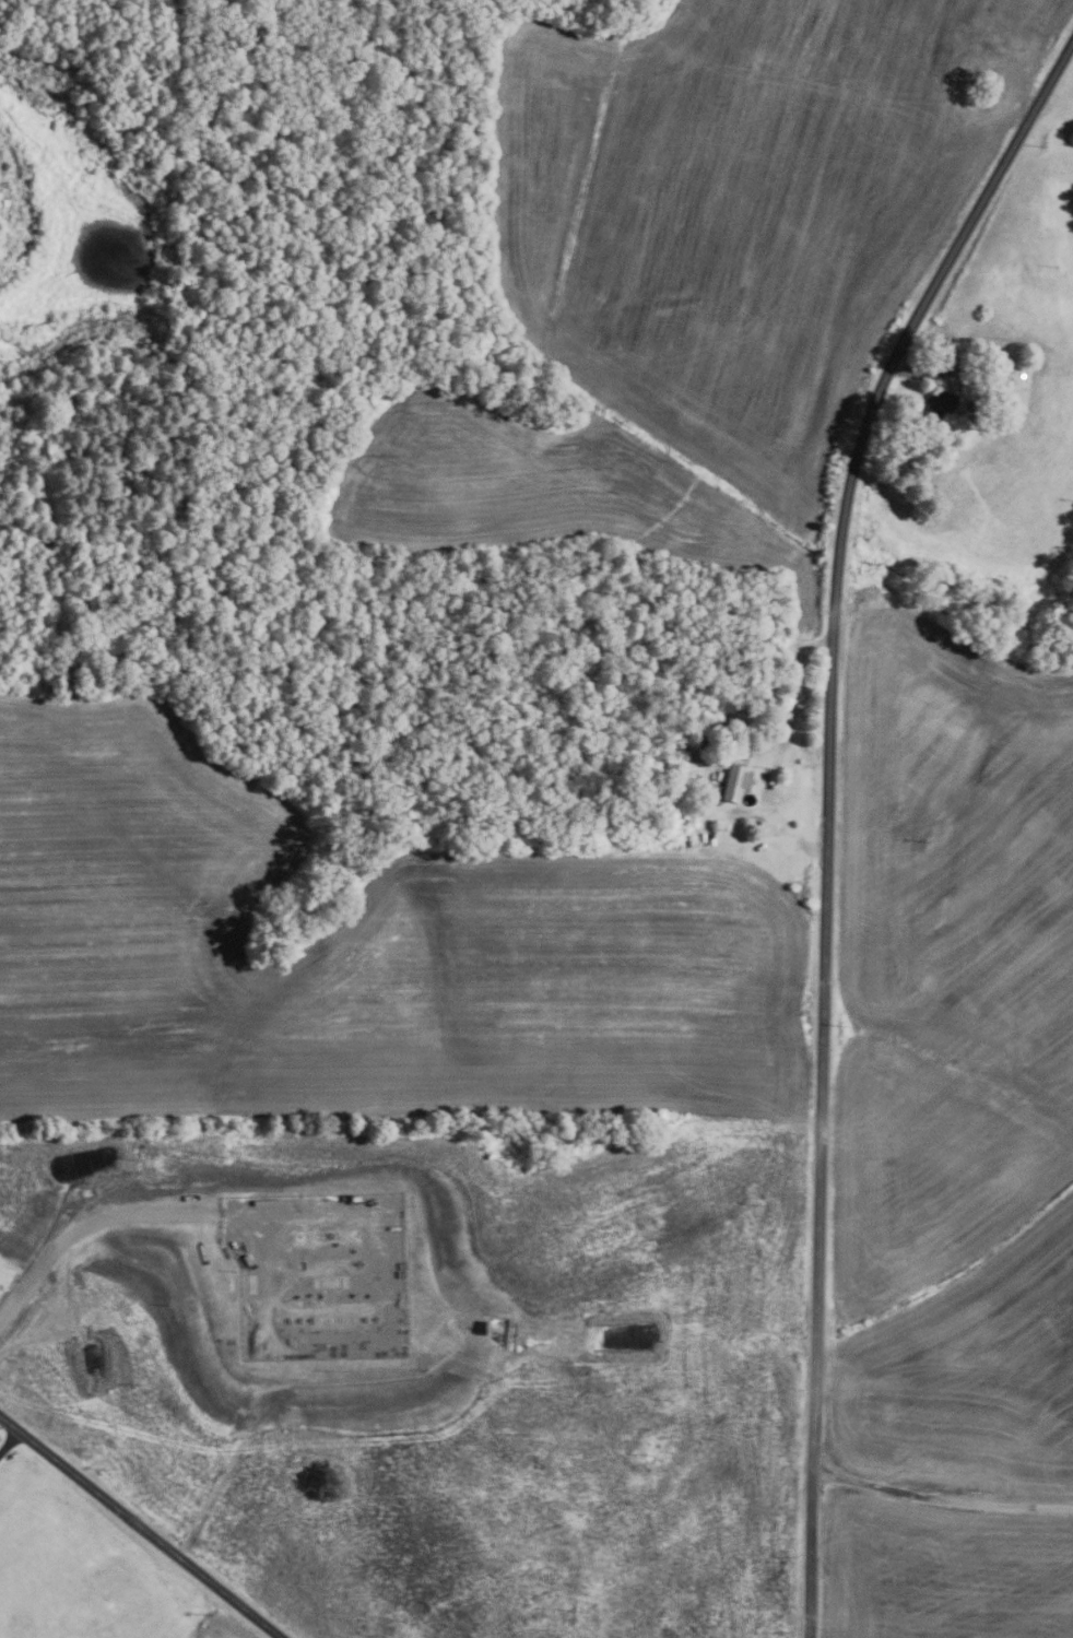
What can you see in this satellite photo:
building: (994, 87)
building: (1022, 375)
road: (931, 376)
building: (990, 379)
building: (992, 392)
building: (943, 403)
road: (792, 700)
building: (724, 732)
building: (693, 756)
building: (734, 782)
road: (826, 813)
building: (701, 838)
building: (710, 839)
building: (248, 1365)
road: (11, 1443)
road: (941, 1499)
road: (140, 1527)

